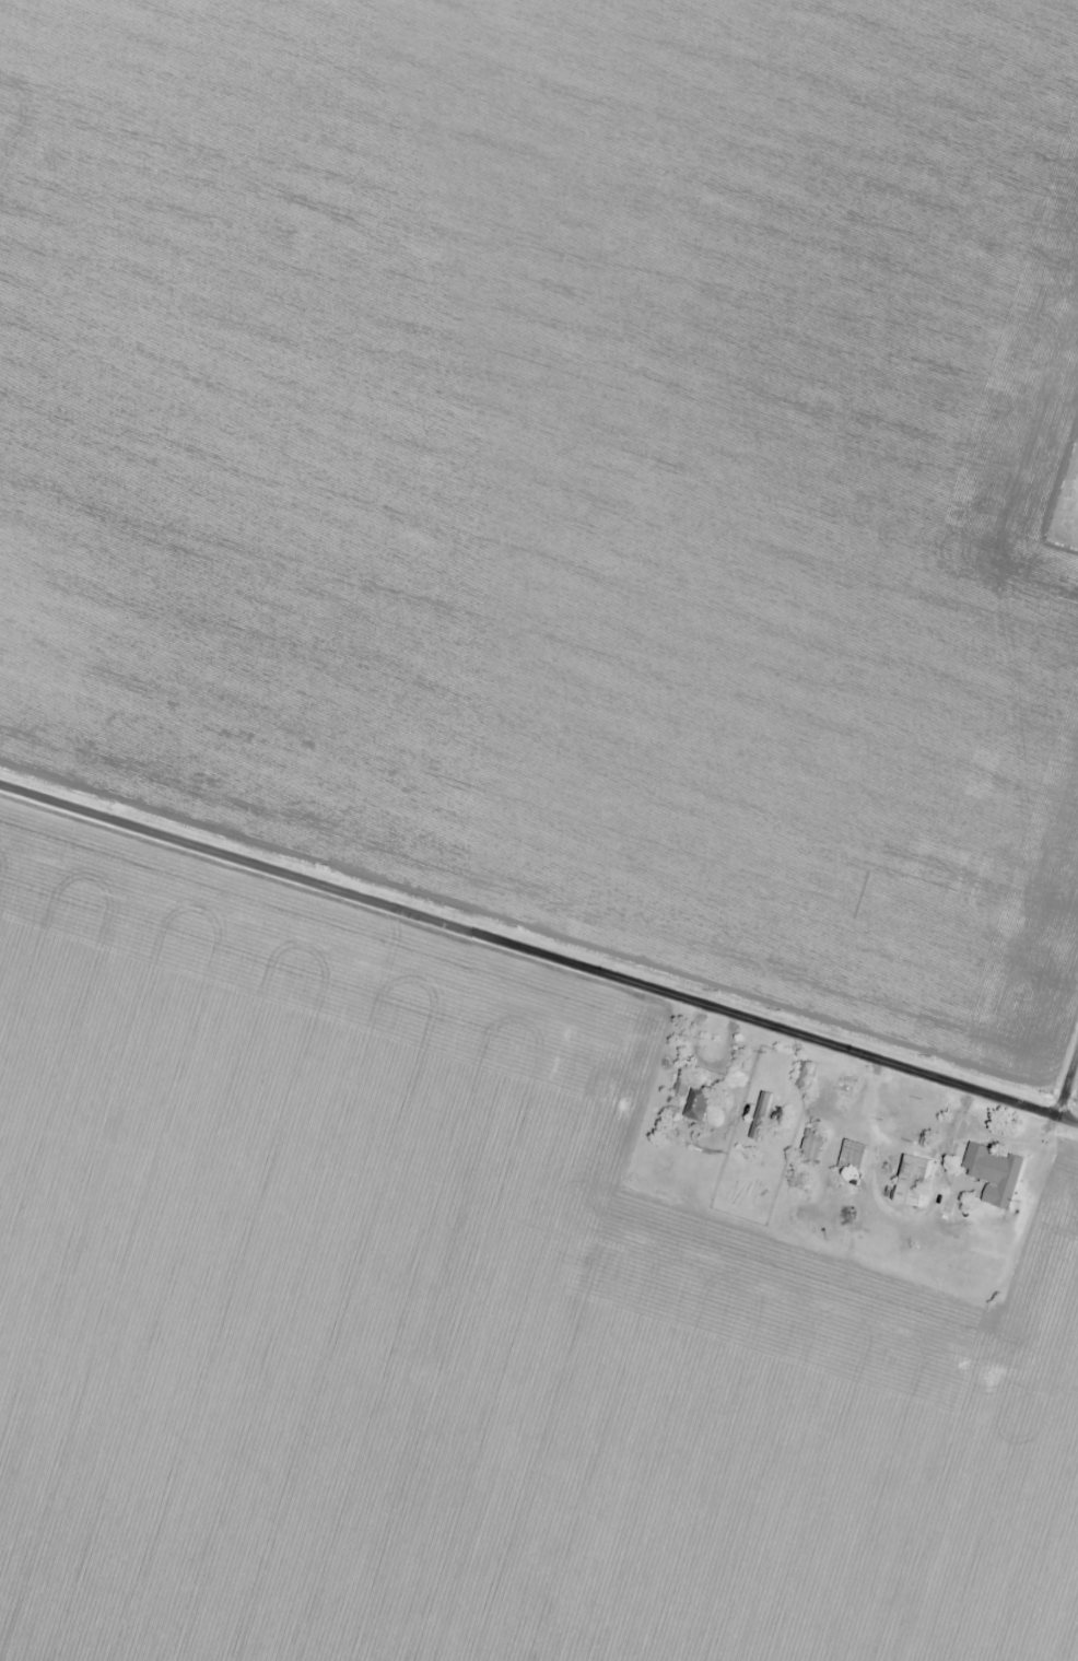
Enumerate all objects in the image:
road: (539, 938)
road: (653, 1093)

